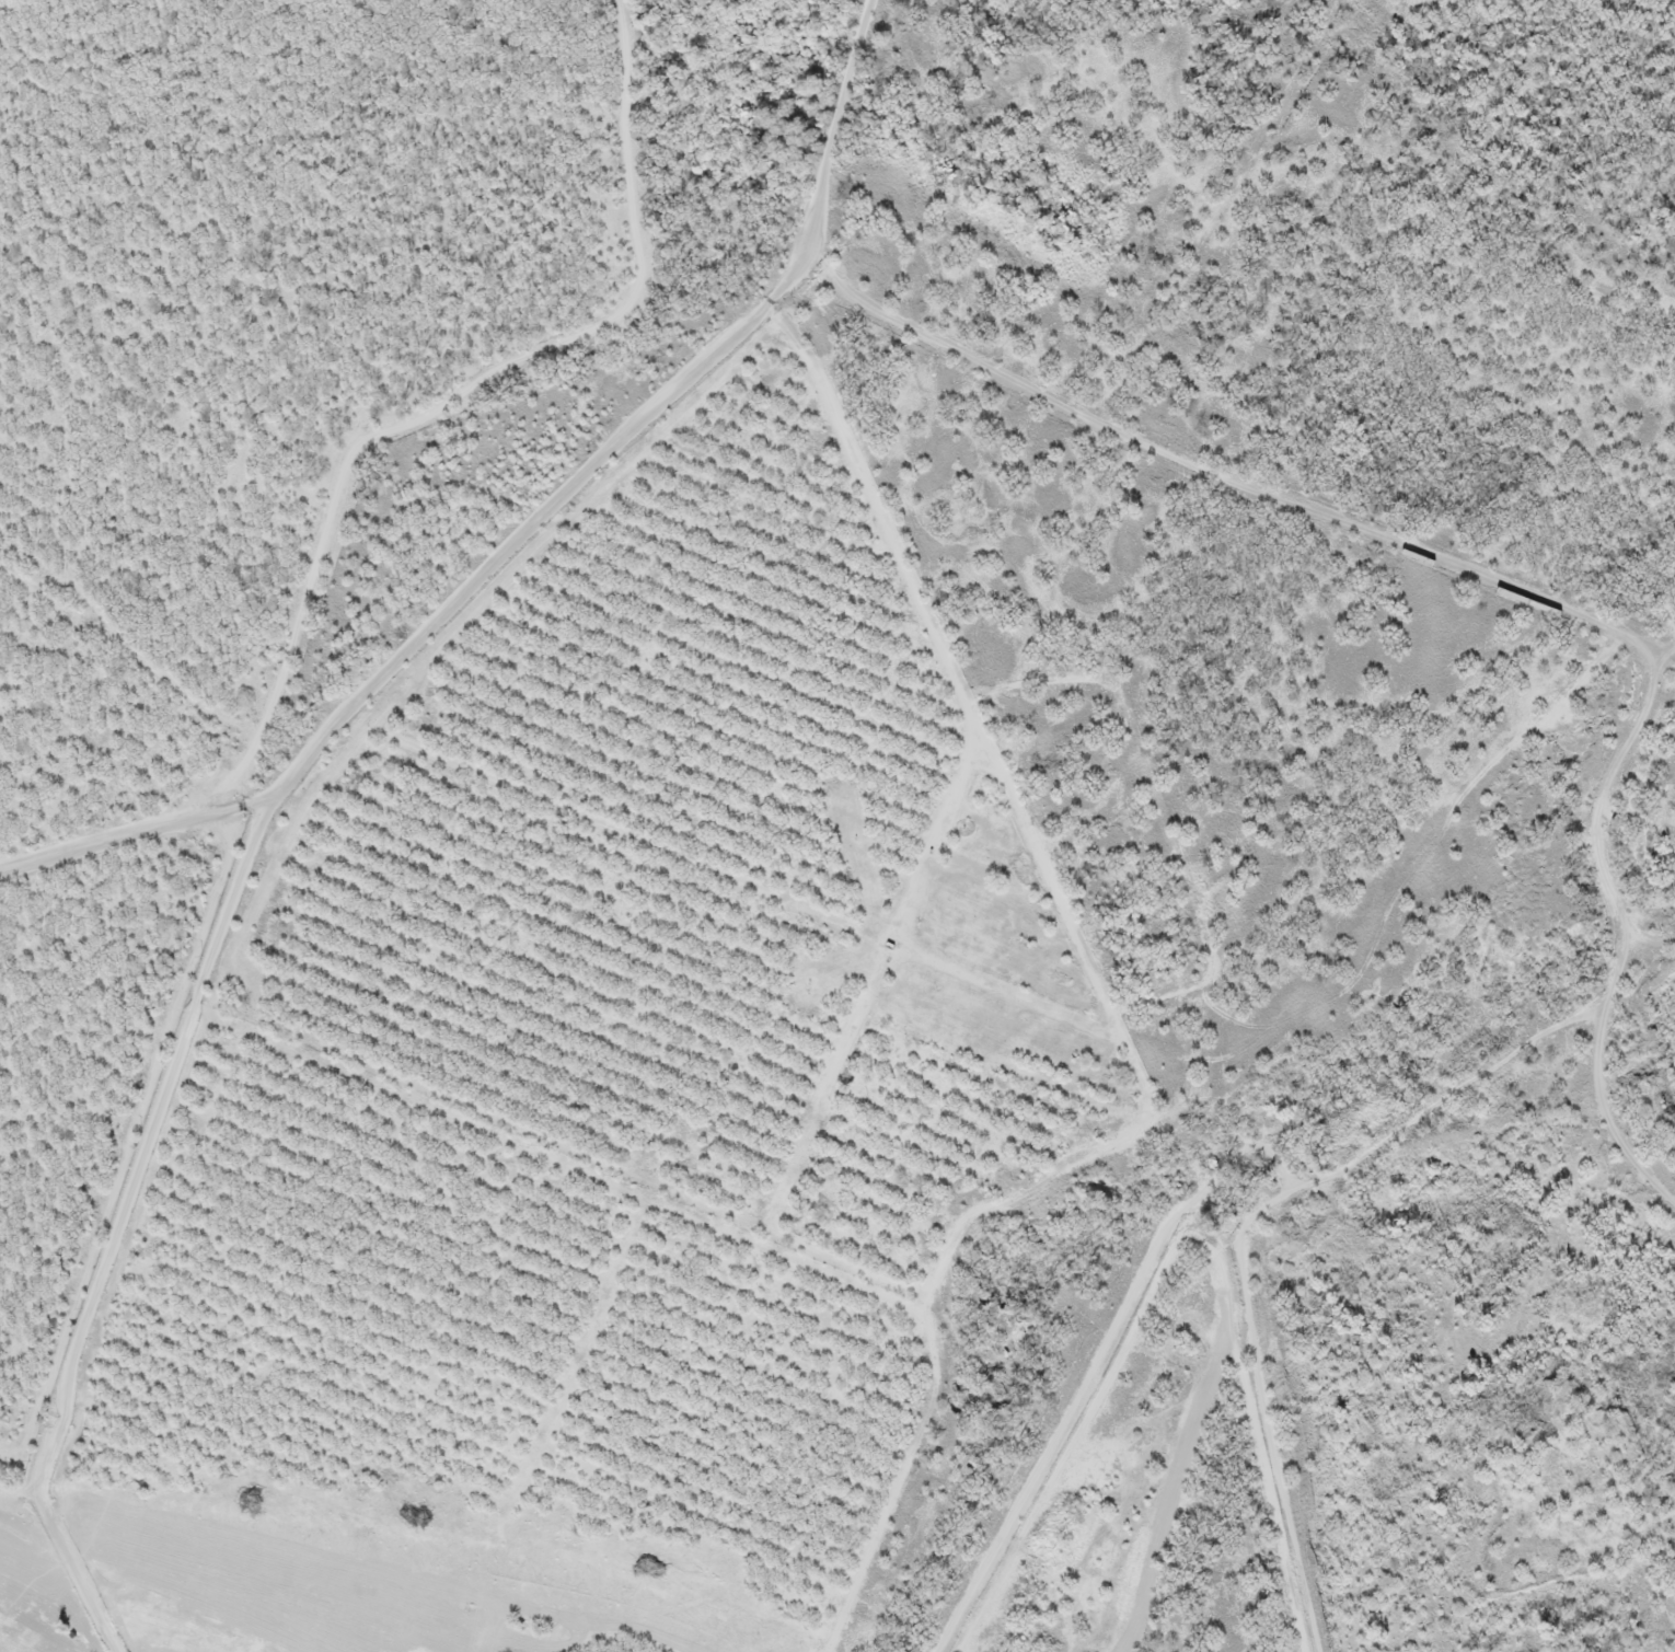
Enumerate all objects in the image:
road: (464, 1009)
road: (940, 1259)

